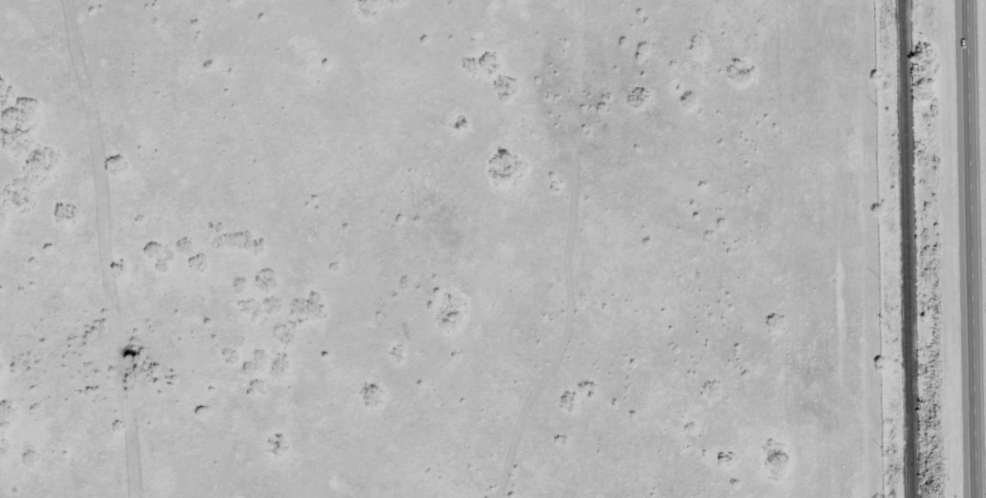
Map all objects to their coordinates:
road: (977, 248)
railway: (907, 249)

